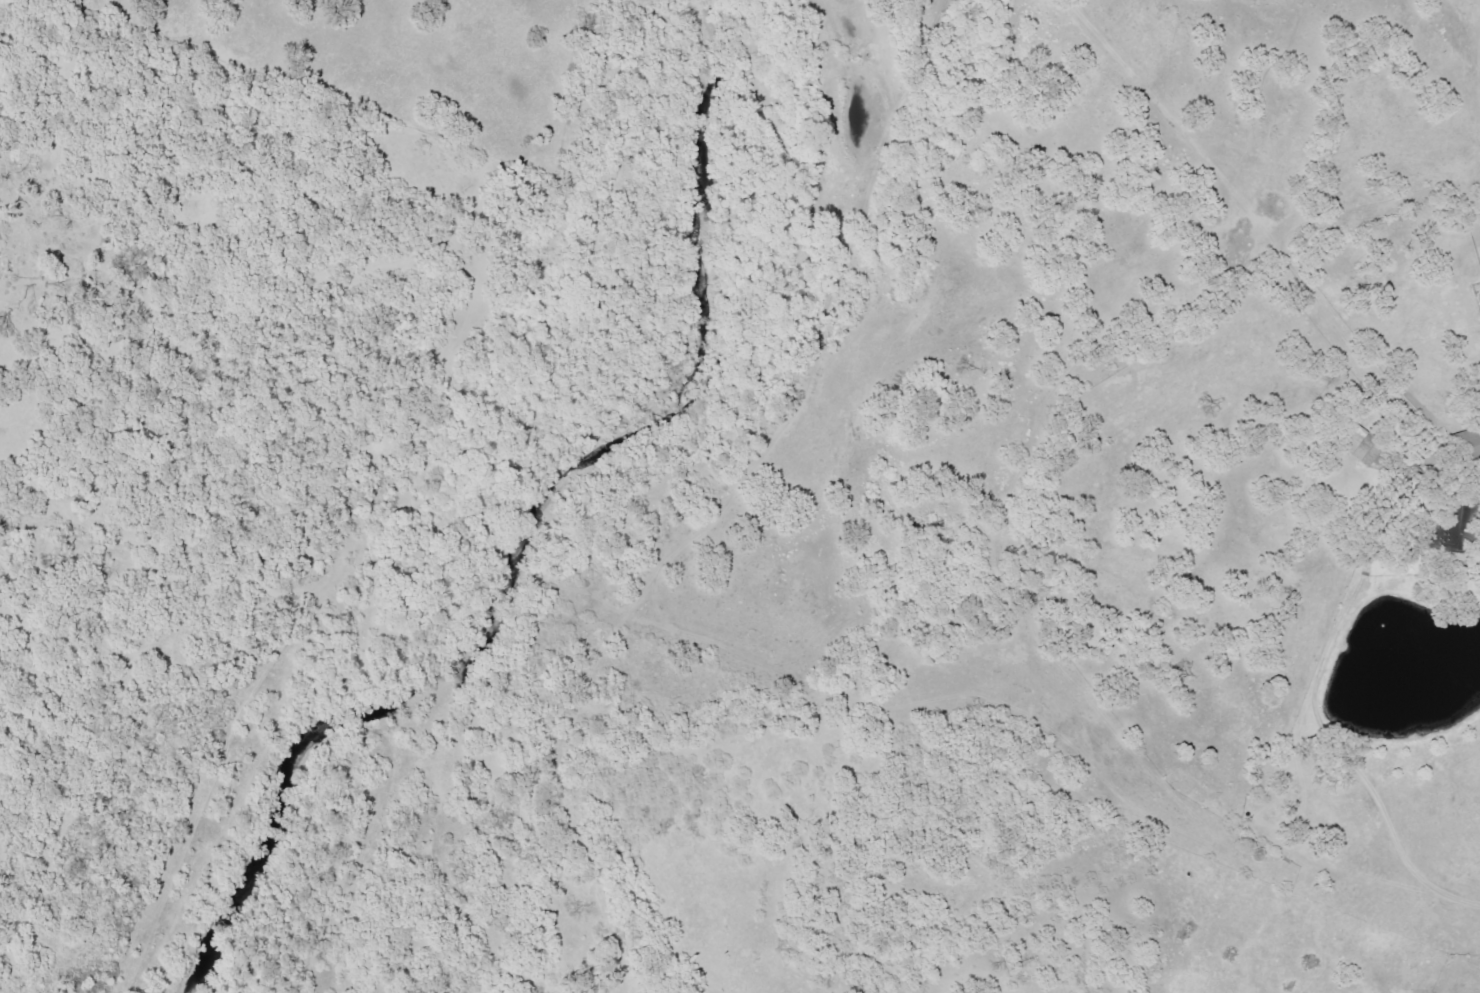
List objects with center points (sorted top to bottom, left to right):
building: (1470, 444)
building: (1358, 446)

